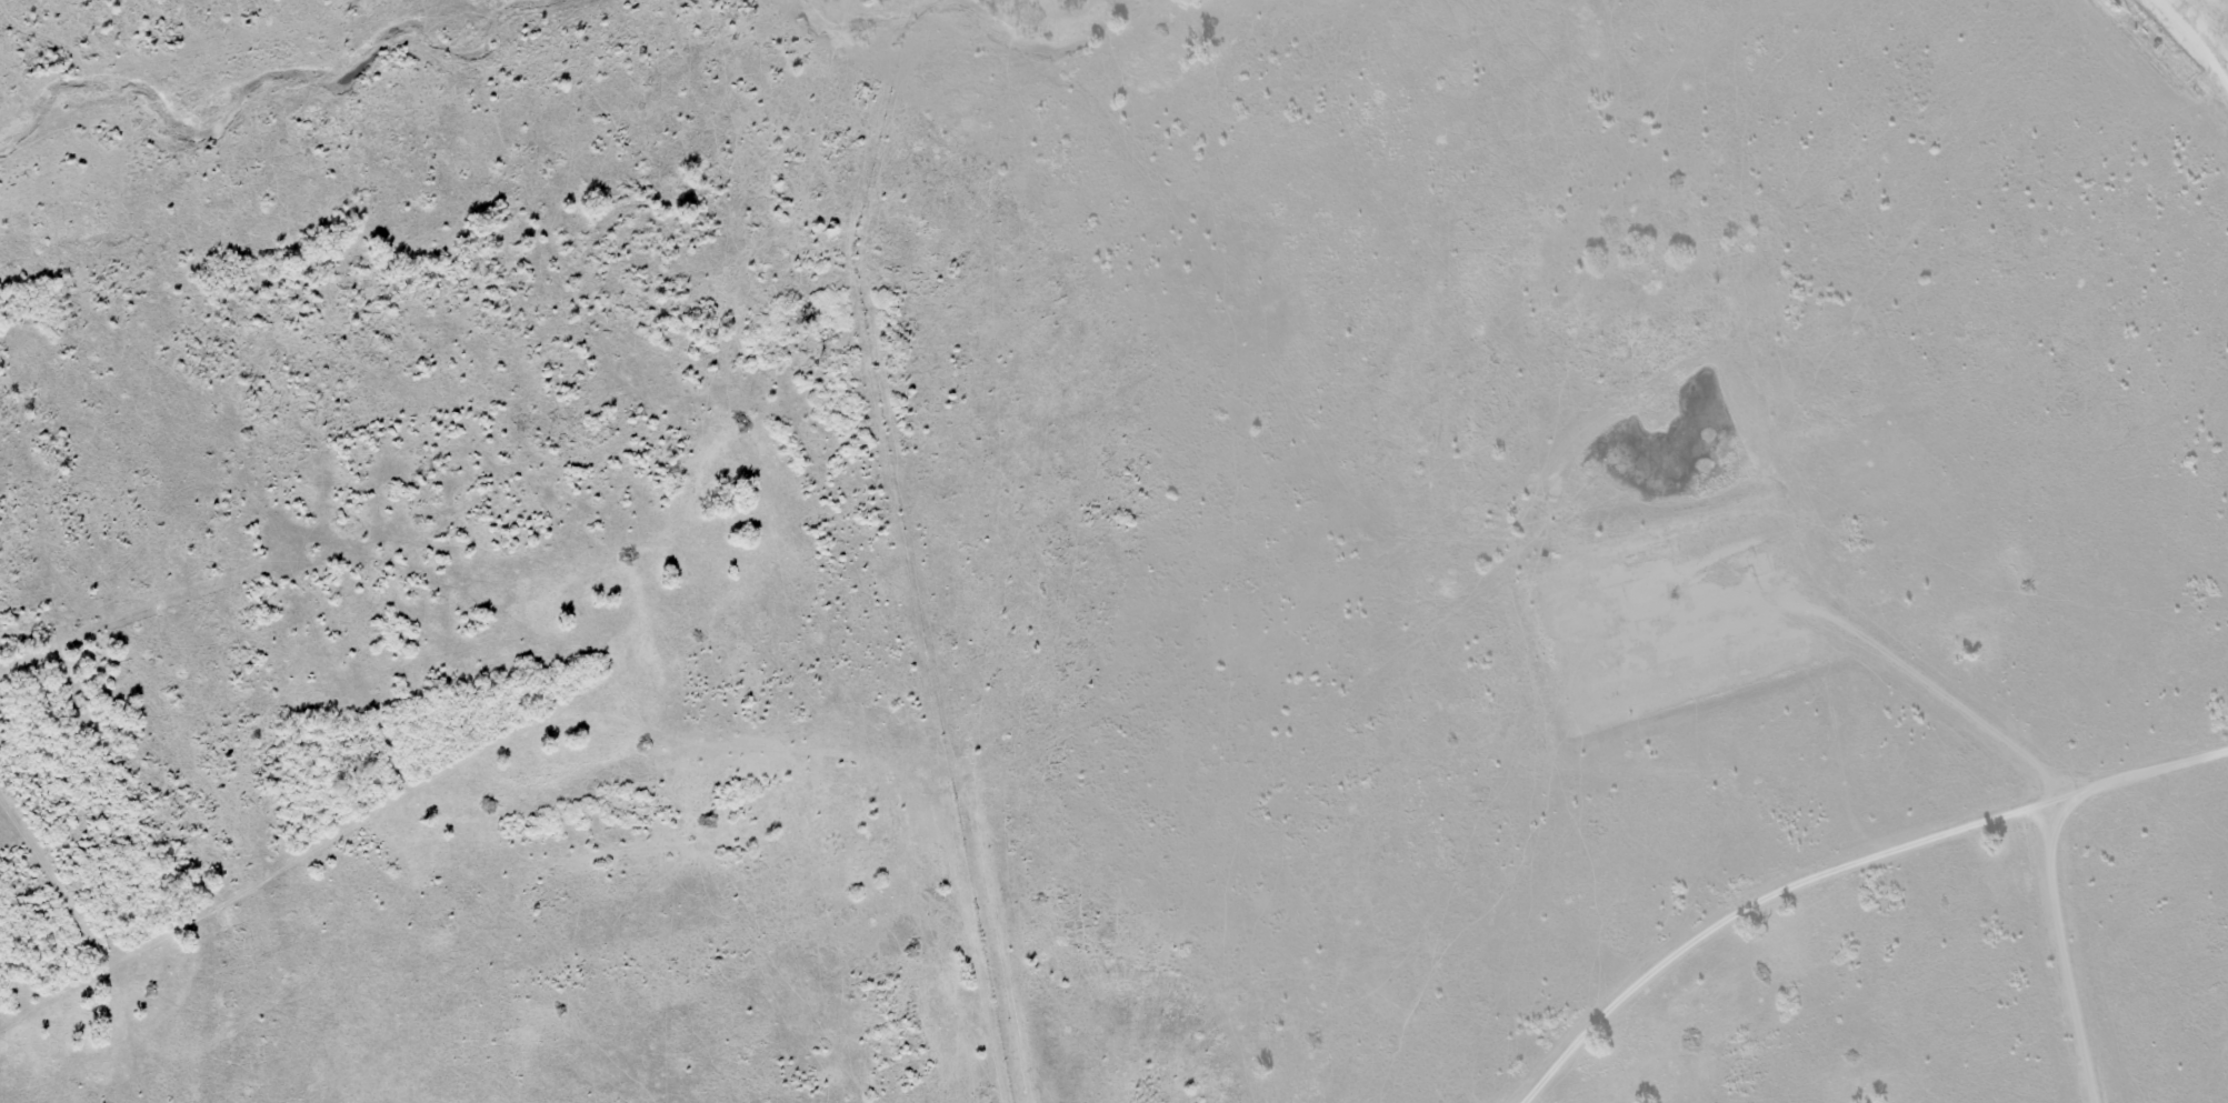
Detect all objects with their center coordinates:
road: (1856, 864)

